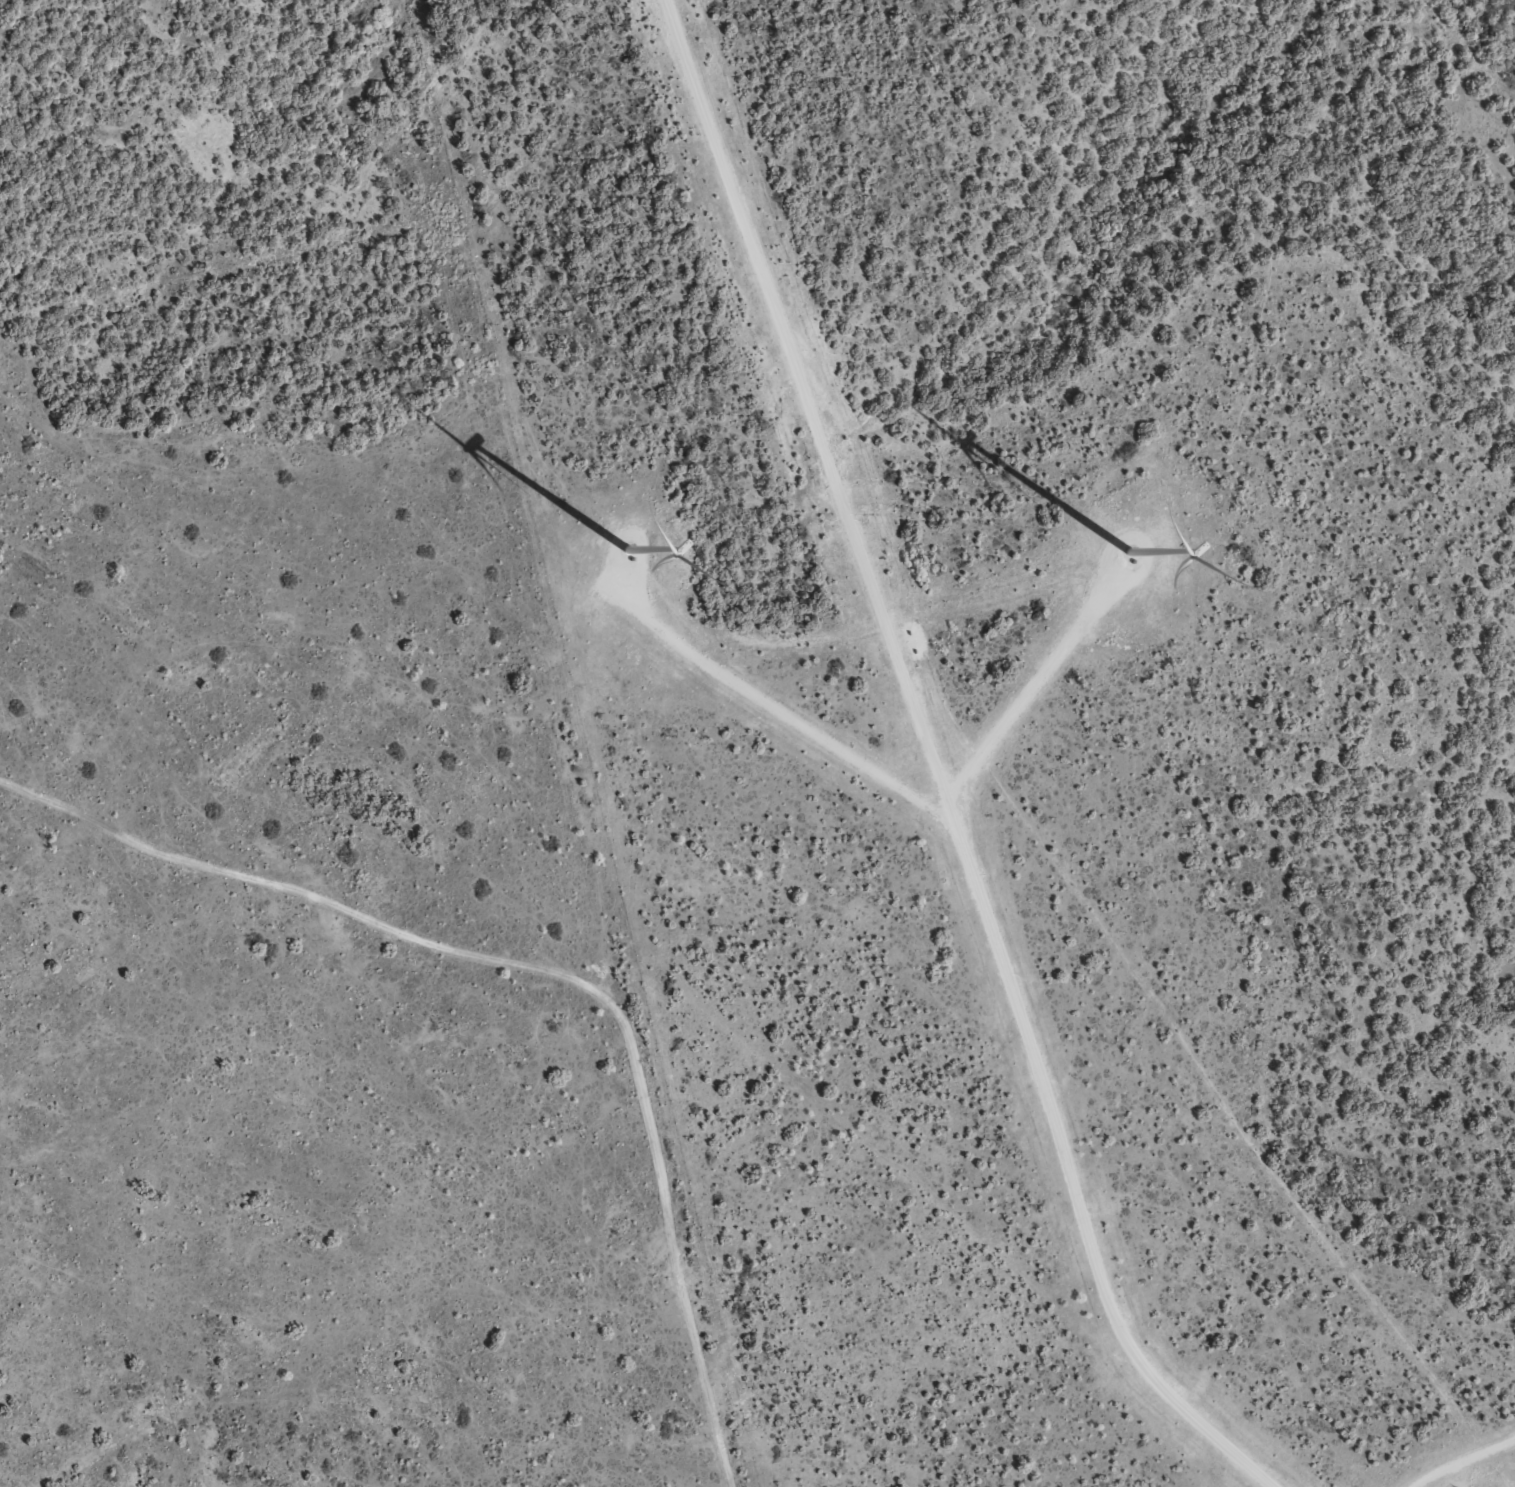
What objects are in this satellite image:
wind turbine: (610, 567)
wind turbine: (1133, 583)
road: (535, 795)
road: (294, 949)
power substation: (1451, 1486)

